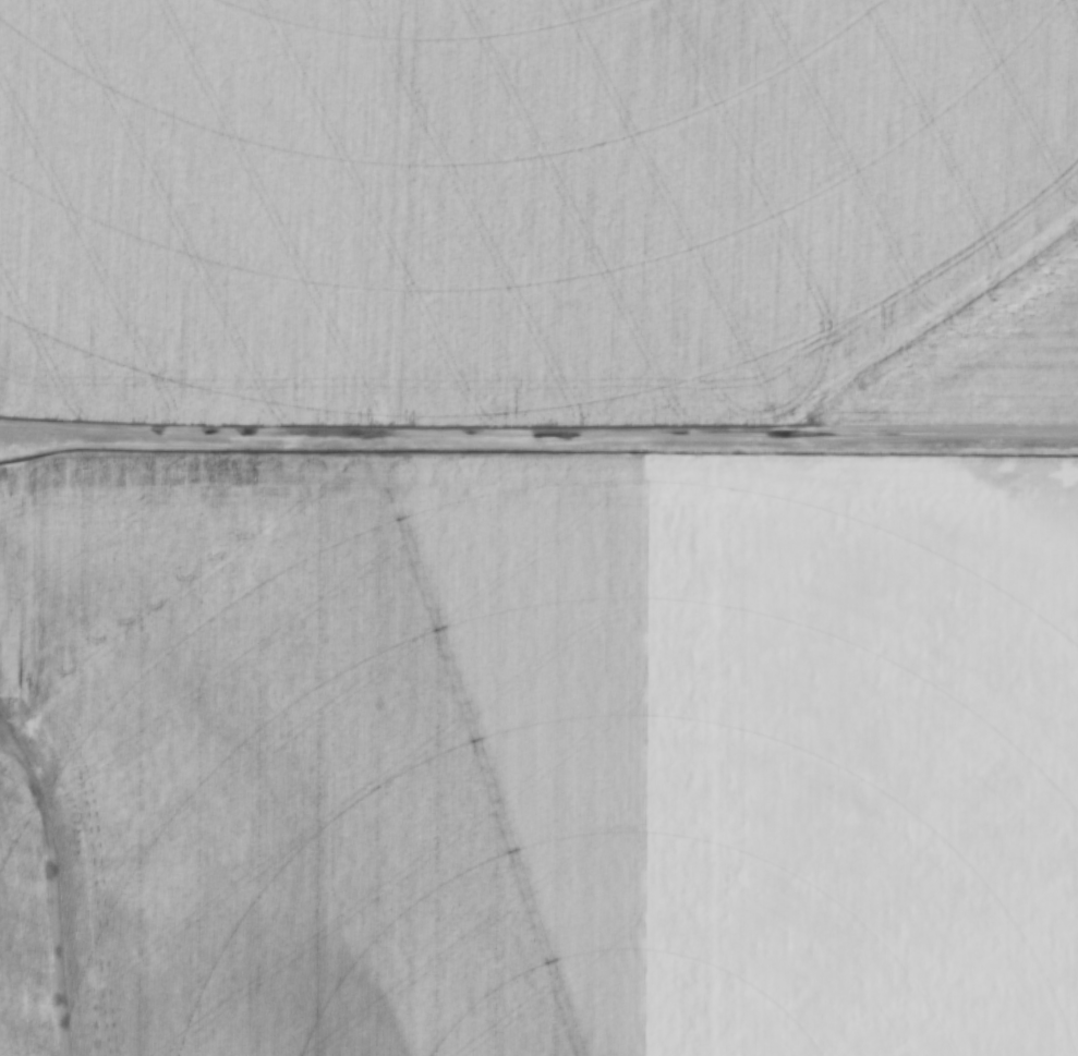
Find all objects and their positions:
road: (538, 423)

